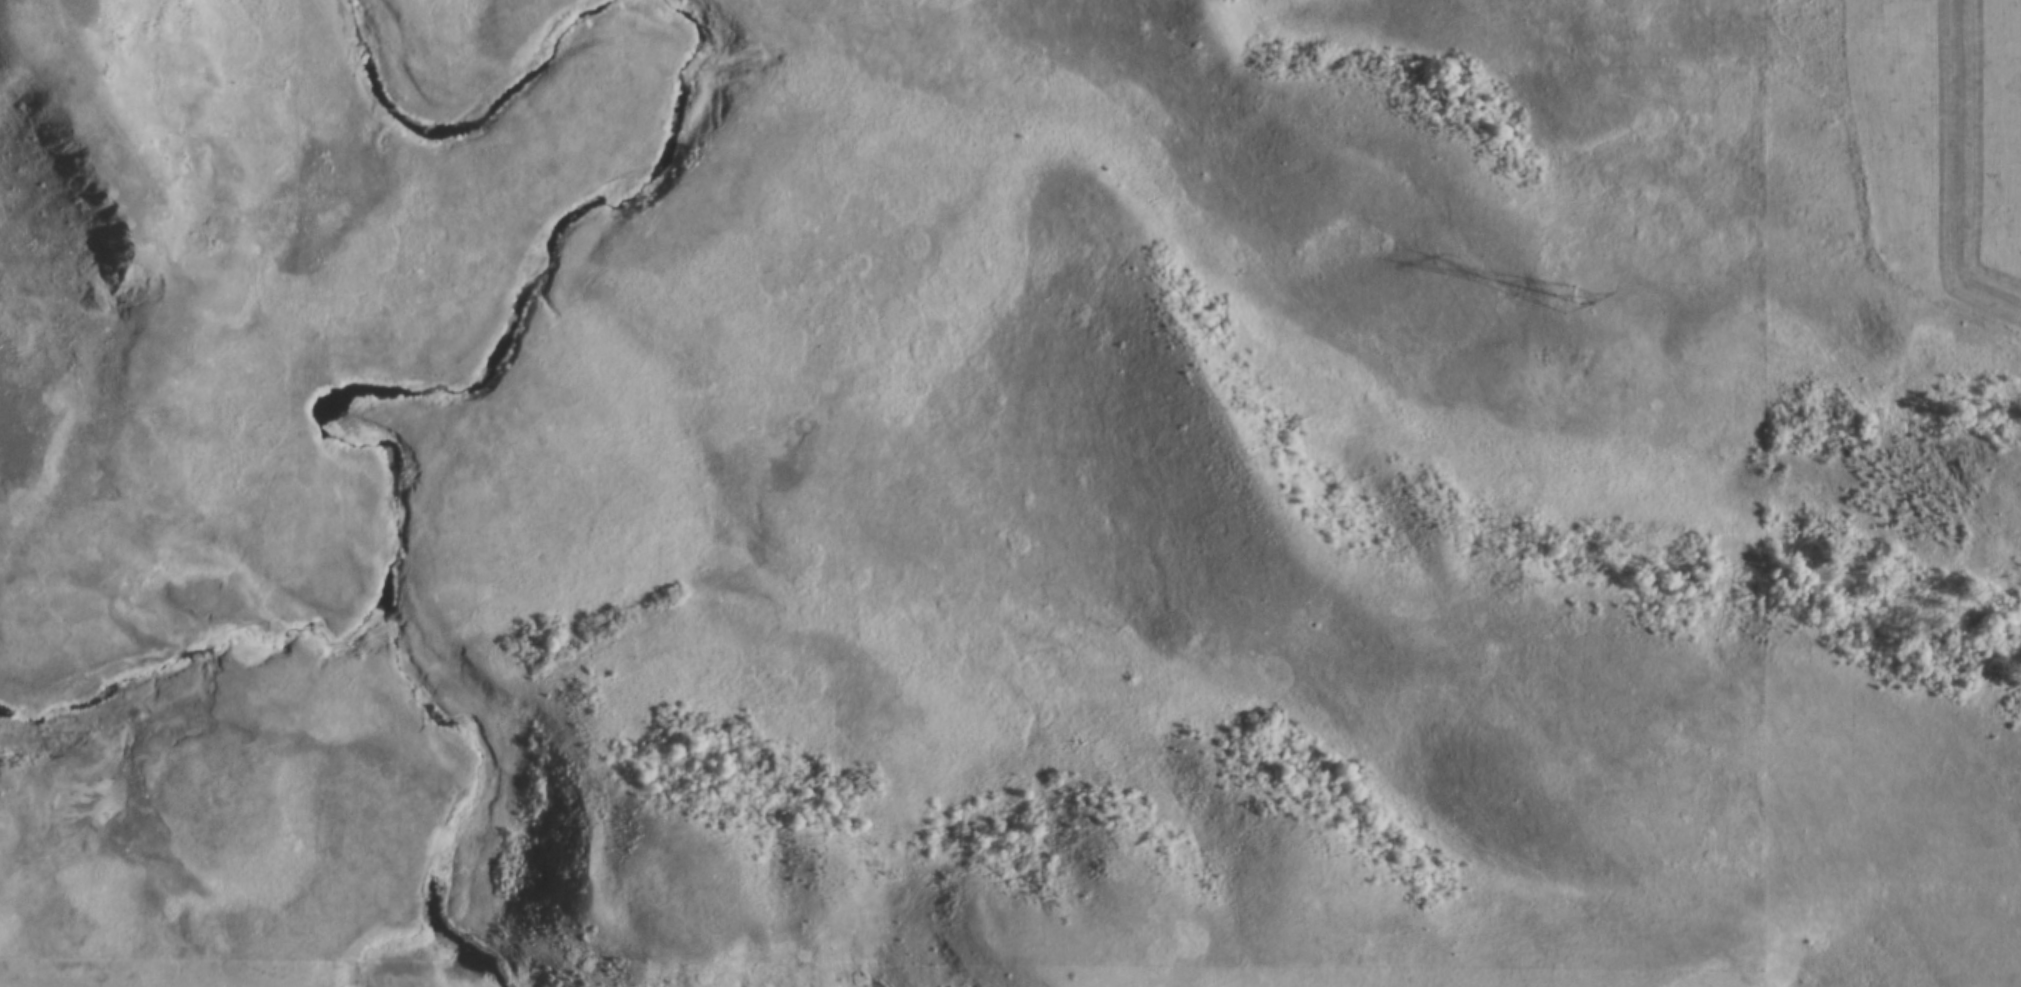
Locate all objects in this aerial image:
power tower: (1550, 306)

